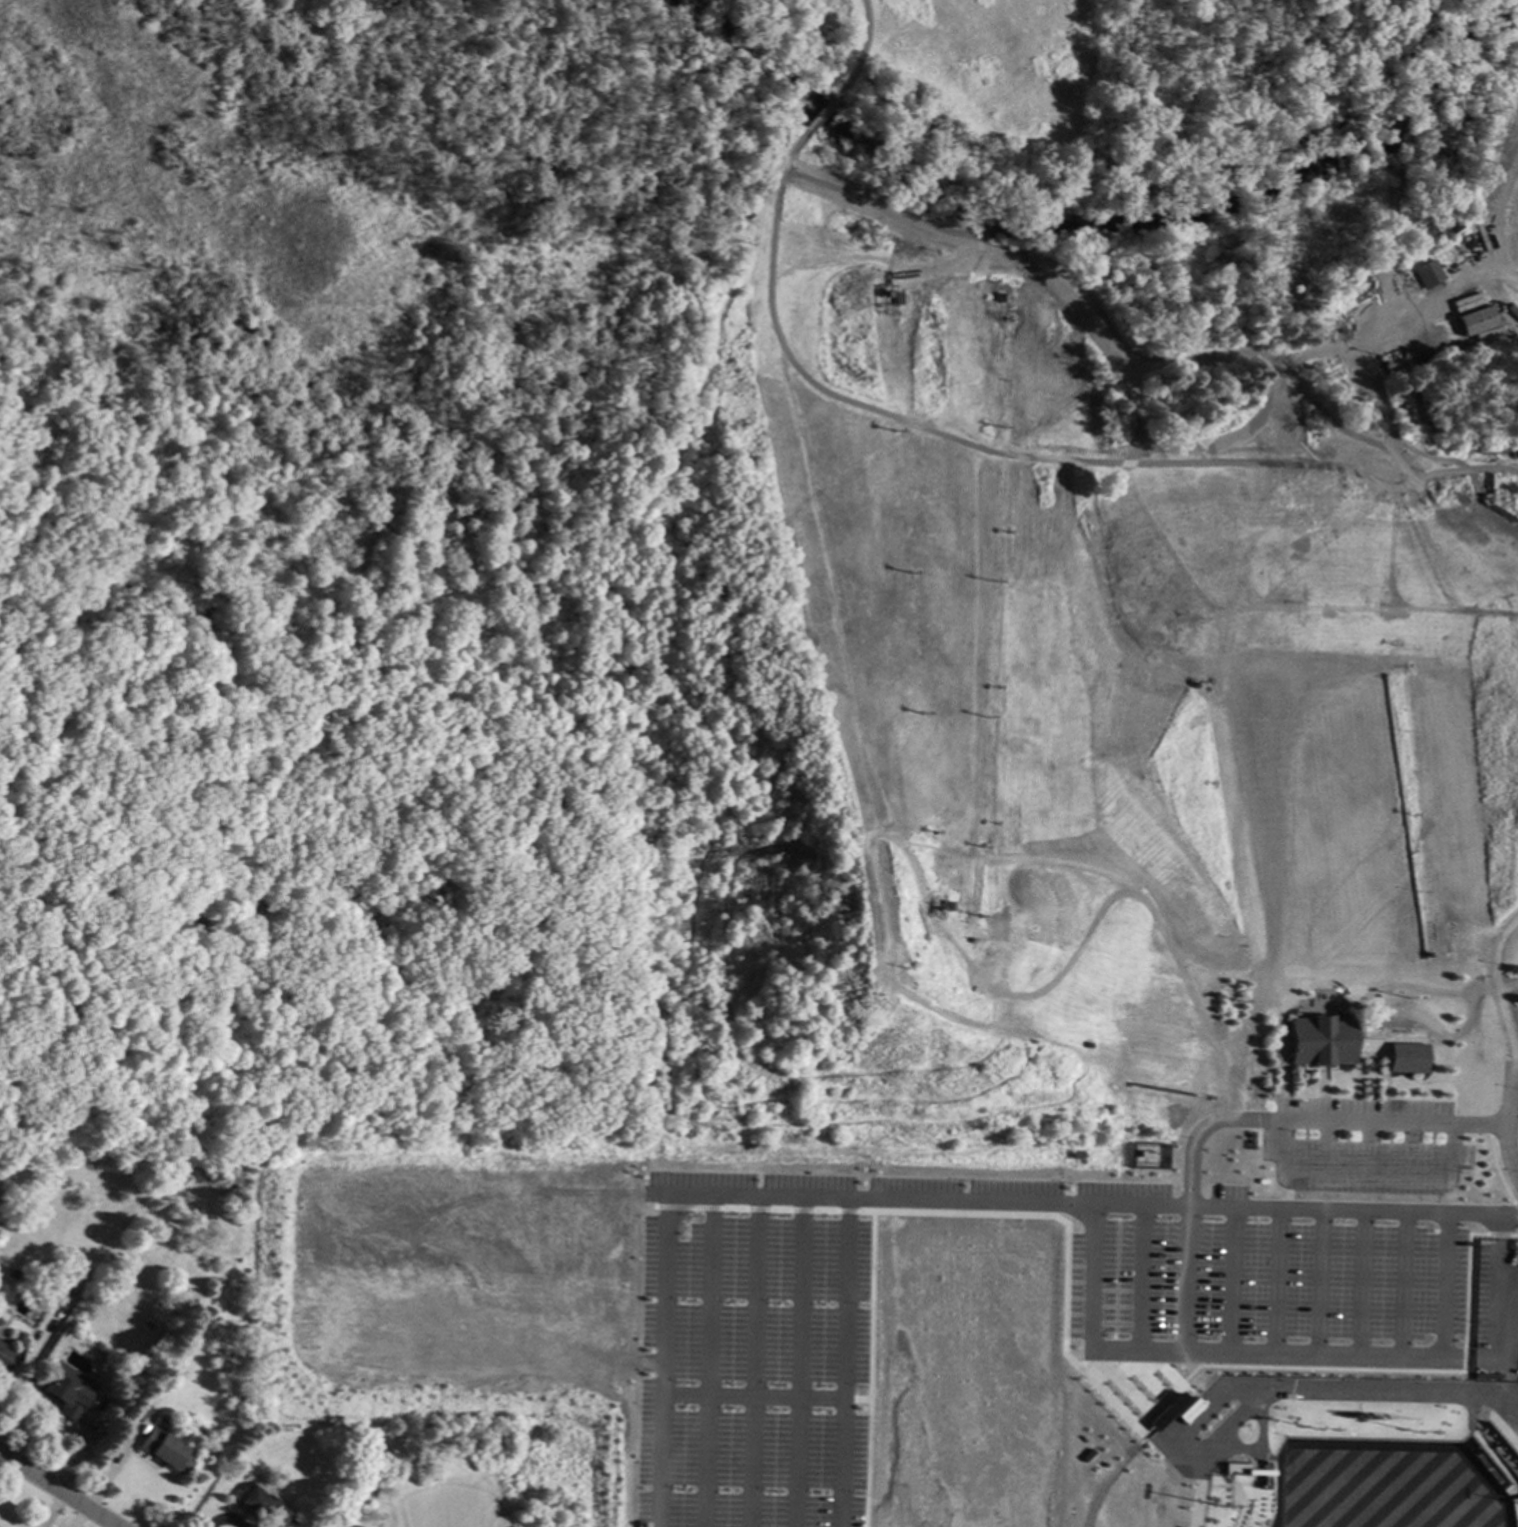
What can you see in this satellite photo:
road: (605, 7)
road: (861, 52)
road: (819, 114)
river: (1087, 231)
road: (761, 253)
road: (873, 260)
building: (1426, 273)
building: (1476, 319)
road: (1106, 326)
road: (1306, 355)
aerialway pylon: (897, 436)
road: (1022, 457)
road: (738, 487)
park: (420, 495)
aerialway pylon: (901, 577)
aerialway pylon: (905, 715)
road: (503, 721)
road: (612, 777)
aerialway pylon: (909, 832)
road: (476, 864)
road: (1089, 878)
road: (974, 916)
building: (1414, 955)
road: (709, 968)
road: (1478, 981)
road: (1419, 993)
road: (977, 995)
road: (913, 1014)
road: (659, 1024)
road: (1413, 1033)
building: (1311, 1041)
building: (1395, 1058)
road: (1345, 1073)
road: (679, 1074)
road: (1174, 1074)
road: (643, 1076)
road: (1214, 1102)
road: (296, 1110)
road: (1304, 1121)
road: (1495, 1124)
parking lot: (1360, 1146)
road: (1486, 1166)
road: (1357, 1170)
road: (756, 1199)
road: (684, 1207)
road: (1182, 1207)
road: (731, 1209)
road: (755, 1209)
road: (775, 1210)
road: (796, 1210)
road: (820, 1211)
road: (842, 1211)
road: (1512, 1212)
road: (1493, 1235)
road: (1512, 1236)
road: (1074, 1267)
road: (1061, 1270)
road: (1137, 1279)
road: (1182, 1280)
road: (1227, 1281)
road: (1462, 1281)
road: (1272, 1282)
road: (1074, 1283)
road: (1314, 1283)
road: (1358, 1283)
building: (57, 1284)
road: (1399, 1284)
road: (1110, 1292)
road: (1111, 1292)
parking lot: (1476, 1296)
road: (1073, 1299)
building: (177, 1304)
road: (1111, 1308)
road: (1494, 1314)
road: (1073, 1315)
road: (1111, 1324)
road: (1073, 1331)
road: (1261, 1354)
building: (5, 1357)
road: (1460, 1359)
road: (661, 1362)
road: (703, 1362)
road: (749, 1362)
road: (795, 1363)
road: (842, 1364)
road: (1144, 1366)
road: (1316, 1368)
road: (864, 1369)
road: (1099, 1375)
road: (1128, 1389)
building: (63, 1395)
road: (750, 1398)
road: (852, 1400)
building: (1185, 1410)
building: (1162, 1412)
building: (167, 1421)
parking lot: (746, 1434)
building: (165, 1450)
building: (1496, 1473)
park: (1380, 1485)
road: (57, 1490)
building: (1236, 1497)
building: (261, 1505)

